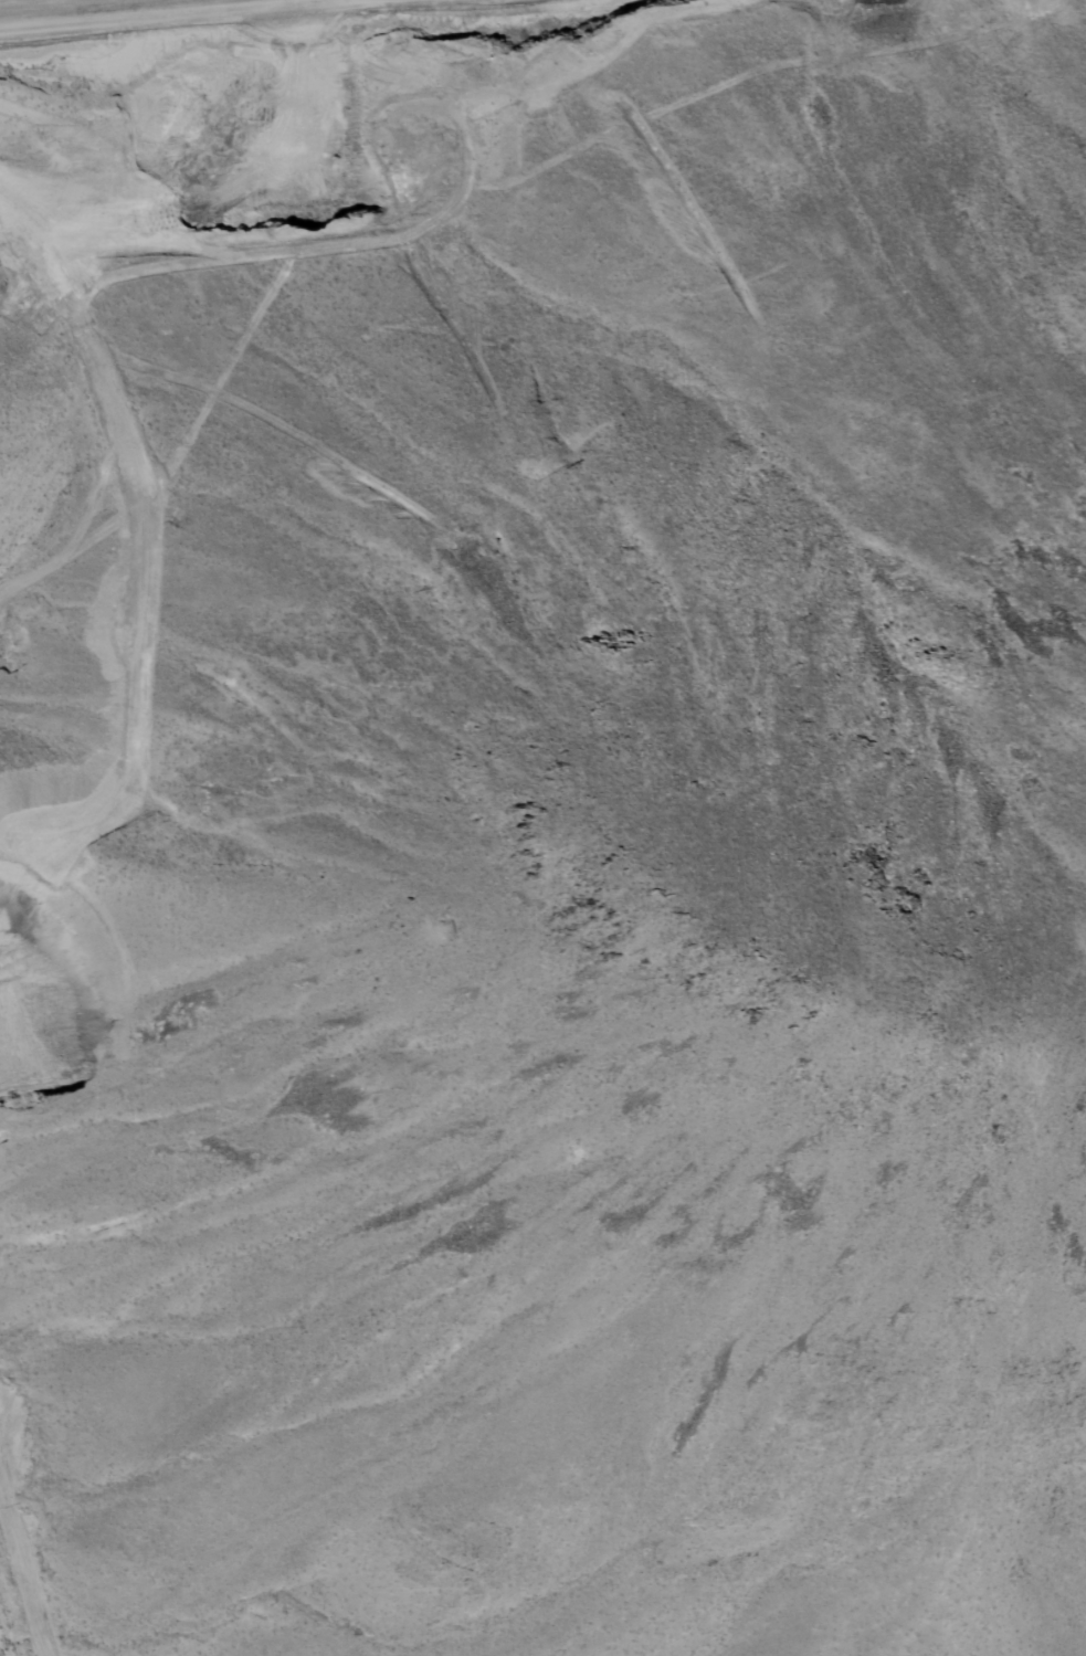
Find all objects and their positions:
road: (124, 10)

